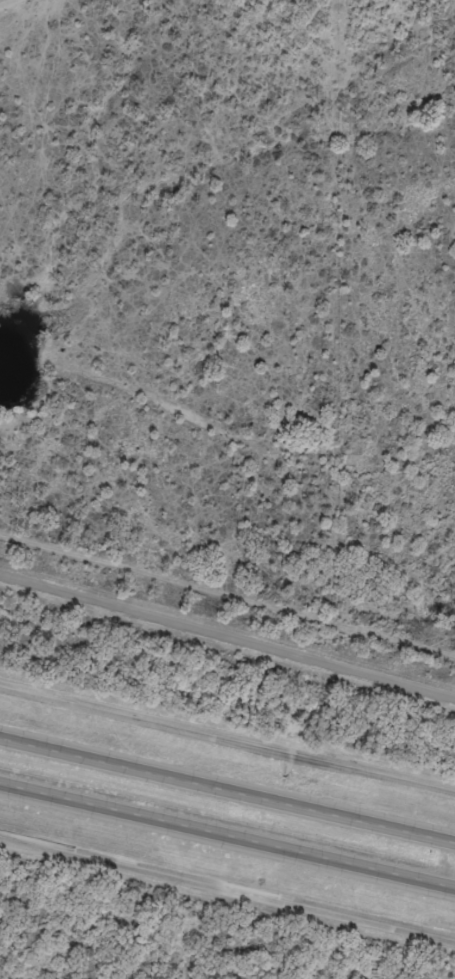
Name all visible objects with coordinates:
road: (227, 642)
road: (227, 737)
road: (227, 788)
road: (227, 833)
road: (227, 891)

